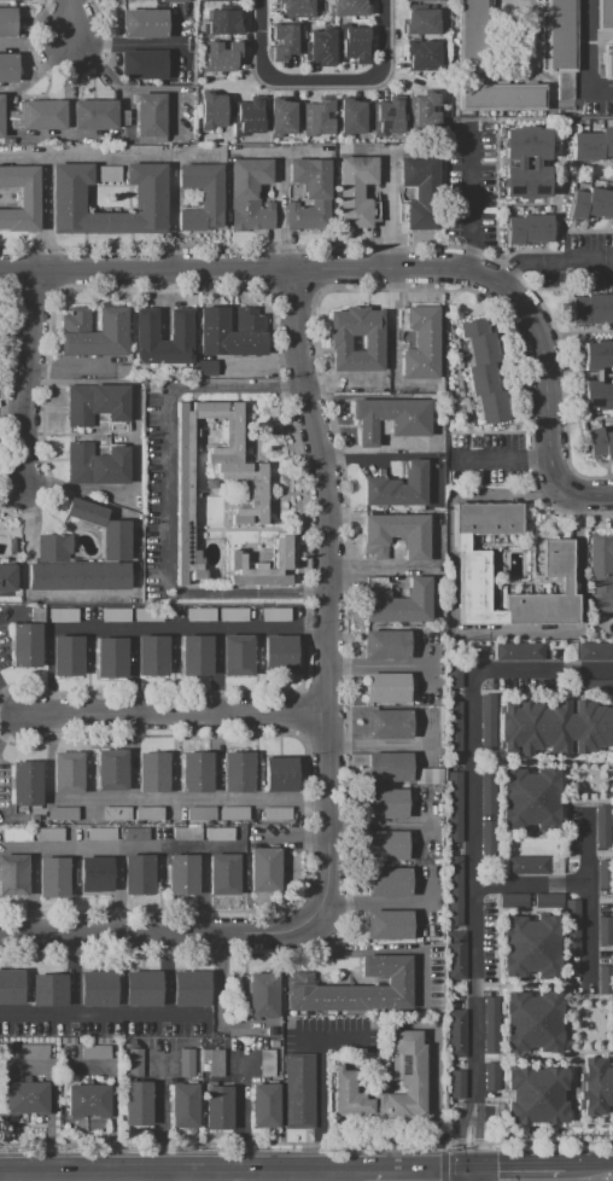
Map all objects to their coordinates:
building: (226, 0)
building: (428, 0)
building: (174, 1)
building: (349, 7)
building: (297, 8)
building: (603, 16)
building: (7, 22)
road: (72, 22)
building: (222, 22)
building: (144, 23)
building: (422, 23)
building: (557, 35)
building: (472, 36)
road: (599, 36)
building: (285, 40)
road: (267, 43)
road: (389, 43)
road: (36, 45)
road: (125, 45)
building: (356, 45)
building: (322, 46)
building: (422, 54)
building: (224, 58)
road: (584, 60)
building: (607, 63)
building: (144, 64)
building: (7, 68)
road: (101, 70)
road: (43, 71)
road: (72, 72)
road: (177, 74)
road: (328, 87)
building: (501, 98)
building: (211, 110)
building: (422, 111)
building: (98, 114)
building: (43, 115)
building: (0, 116)
building: (150, 116)
building: (250, 116)
building: (389, 116)
building: (282, 117)
building: (320, 117)
building: (354, 117)
road: (542, 118)
building: (591, 144)
road: (333, 150)
road: (103, 151)
building: (533, 162)
building: (106, 173)
road: (561, 175)
road: (588, 178)
road: (496, 188)
building: (355, 191)
building: (420, 191)
building: (249, 194)
road: (471, 194)
building: (309, 196)
building: (199, 197)
building: (21, 198)
building: (68, 199)
building: (591, 203)
road: (527, 204)
road: (43, 210)
road: (169, 210)
building: (527, 228)
road: (555, 242)
road: (551, 258)
parking lot: (576, 260)
road: (368, 269)
road: (520, 280)
building: (591, 308)
building: (112, 322)
building: (146, 324)
building: (473, 327)
road: (584, 330)
building: (232, 331)
building: (338, 342)
building: (420, 344)
building: (483, 348)
building: (205, 368)
building: (122, 371)
building: (599, 376)
building: (481, 378)
road: (24, 379)
building: (97, 403)
building: (491, 407)
building: (390, 418)
road: (588, 420)
building: (600, 442)
road: (565, 447)
parking lot: (489, 459)
road: (502, 459)
building: (95, 464)
building: (396, 485)
building: (183, 494)
road: (594, 495)
road: (544, 496)
road: (167, 510)
road: (596, 512)
road: (543, 520)
building: (104, 529)
building: (396, 534)
road: (453, 545)
road: (498, 545)
building: (292, 554)
road: (530, 558)
building: (281, 559)
road: (524, 562)
building: (474, 564)
building: (72, 569)
building: (601, 570)
building: (8, 576)
road: (501, 578)
building: (292, 581)
road: (531, 582)
road: (576, 582)
road: (323, 594)
building: (396, 600)
building: (232, 613)
building: (275, 613)
building: (36, 615)
building: (63, 615)
building: (116, 615)
building: (147, 615)
building: (200, 615)
road: (189, 627)
road: (501, 627)
road: (457, 630)
building: (386, 644)
building: (25, 645)
building: (519, 650)
building: (595, 650)
building: (279, 653)
building: (68, 655)
building: (195, 655)
building: (237, 655)
building: (153, 656)
building: (111, 657)
road: (375, 663)
building: (455, 673)
building: (591, 686)
building: (386, 687)
road: (173, 715)
road: (19, 717)
building: (488, 721)
road: (496, 722)
building: (389, 723)
building: (554, 726)
building: (454, 728)
road: (559, 761)
building: (389, 766)
building: (111, 769)
building: (66, 772)
building: (152, 772)
building: (237, 772)
building: (197, 773)
building: (280, 775)
building: (427, 775)
building: (27, 783)
building: (488, 792)
building: (530, 798)
road: (199, 799)
road: (579, 799)
building: (384, 802)
building: (454, 805)
building: (63, 813)
building: (200, 813)
building: (276, 813)
building: (116, 814)
building: (148, 814)
building: (233, 814)
road: (474, 816)
building: (602, 826)
building: (101, 833)
building: (134, 833)
building: (185, 833)
building: (220, 833)
building: (16, 834)
building: (48, 834)
road: (530, 834)
road: (564, 837)
building: (488, 840)
building: (384, 844)
road: (588, 847)
road: (605, 853)
road: (586, 855)
road: (570, 856)
building: (526, 863)
building: (264, 871)
building: (605, 873)
building: (13, 874)
building: (95, 874)
building: (138, 874)
building: (223, 874)
building: (181, 875)
building: (52, 878)
building: (387, 882)
road: (585, 882)
road: (496, 883)
road: (564, 883)
building: (455, 890)
building: (512, 900)
building: (547, 900)
road: (374, 902)
road: (530, 908)
building: (389, 923)
road: (612, 925)
building: (571, 927)
building: (605, 930)
road: (159, 933)
building: (530, 944)
road: (564, 947)
building: (455, 955)
building: (605, 979)
road: (530, 984)
building: (11, 987)
building: (98, 988)
building: (191, 988)
building: (357, 988)
building: (142, 989)
building: (48, 990)
building: (263, 995)
road: (612, 999)
building: (532, 1022)
building: (490, 1024)
road: (497, 1025)
building: (272, 1031)
building: (455, 1032)
building: (68, 1040)
building: (103, 1041)
building: (34, 1052)
building: (95, 1052)
road: (566, 1054)
building: (212, 1061)
building: (186, 1063)
building: (267, 1064)
road: (573, 1072)
building: (408, 1075)
building: (490, 1076)
road: (319, 1084)
building: (456, 1084)
building: (595, 1086)
building: (299, 1090)
building: (136, 1092)
road: (432, 1092)
building: (536, 1094)
building: (25, 1098)
building: (87, 1100)
building: (183, 1105)
building: (264, 1105)
building: (217, 1107)
road: (241, 1116)
road: (159, 1117)
road: (461, 1140)
traffic signals: (461, 1140)
road: (478, 1140)
road: (555, 1141)
road: (215, 1142)
road: (439, 1142)
road: (466, 1142)
road: (443, 1146)
road: (443, 1165)
traffic signals: (502, 1165)
road: (516, 1165)
road: (589, 1165)
road: (181, 1177)
road: (418, 1177)
traffic signals: (439, 1177)
road: (0, 1179)
road: (180, 1179)
road: (471, 1180)
road: (474, 1180)

